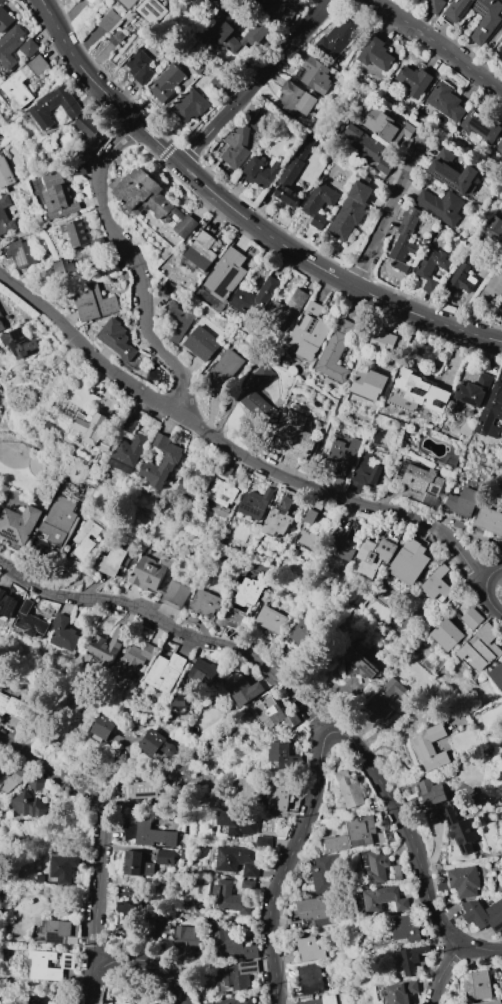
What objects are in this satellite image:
building: (205, 0)
building: (92, 1)
building: (2, 2)
building: (266, 2)
building: (128, 4)
building: (434, 6)
building: (155, 9)
building: (287, 10)
building: (4, 19)
building: (109, 20)
building: (490, 23)
building: (338, 37)
building: (226, 39)
building: (113, 41)
road: (439, 43)
building: (29, 47)
building: (9, 48)
building: (376, 54)
building: (198, 63)
building: (140, 67)
building: (315, 75)
building: (414, 80)
road: (255, 81)
building: (166, 82)
building: (12, 83)
building: (221, 83)
building: (297, 98)
building: (447, 102)
building: (53, 106)
building: (191, 106)
building: (257, 119)
building: (382, 124)
building: (482, 125)
building: (89, 128)
building: (364, 143)
building: (500, 145)
building: (237, 147)
building: (387, 166)
building: (78, 169)
building: (452, 171)
building: (261, 172)
building: (5, 173)
building: (293, 176)
building: (56, 196)
building: (320, 203)
building: (153, 205)
building: (442, 206)
building: (351, 211)
road: (241, 213)
building: (5, 215)
road: (386, 217)
building: (495, 230)
building: (80, 234)
building: (405, 239)
building: (23, 253)
building: (200, 253)
road: (135, 262)
building: (62, 267)
building: (432, 267)
building: (112, 268)
building: (464, 273)
building: (227, 274)
building: (167, 289)
building: (492, 289)
building: (255, 298)
building: (92, 301)
building: (288, 309)
building: (0, 314)
building: (175, 322)
building: (2, 326)
building: (311, 331)
building: (117, 340)
building: (381, 341)
building: (19, 343)
building: (204, 344)
road: (360, 350)
building: (336, 351)
building: (224, 370)
building: (265, 374)
building: (370, 384)
building: (474, 390)
building: (423, 391)
building: (253, 402)
building: (491, 414)
building: (130, 424)
building: (93, 430)
building: (294, 437)
building: (380, 437)
road: (31, 443)
road: (232, 449)
building: (127, 453)
road: (11, 457)
park: (12, 458)
building: (342, 458)
building: (168, 463)
park: (29, 467)
building: (226, 471)
building: (365, 474)
building: (423, 479)
road: (10, 493)
building: (222, 493)
building: (464, 502)
building: (255, 503)
building: (309, 516)
building: (280, 518)
building: (59, 523)
building: (19, 524)
building: (487, 525)
building: (85, 539)
building: (308, 539)
building: (341, 545)
building: (372, 557)
building: (111, 561)
building: (409, 561)
building: (159, 582)
building: (438, 584)
road: (485, 589)
building: (247, 594)
building: (207, 603)
building: (7, 604)
building: (235, 616)
building: (473, 618)
building: (270, 619)
building: (30, 621)
road: (180, 627)
building: (65, 635)
building: (303, 635)
building: (448, 635)
building: (108, 644)
building: (481, 648)
building: (135, 659)
building: (359, 662)
building: (166, 672)
building: (204, 673)
building: (497, 675)
building: (243, 688)
building: (388, 696)
building: (178, 700)
building: (15, 707)
building: (273, 713)
building: (105, 727)
road: (340, 734)
building: (157, 744)
building: (430, 747)
building: (282, 755)
building: (12, 779)
building: (37, 782)
building: (149, 789)
building: (350, 789)
building: (431, 793)
building: (279, 795)
building: (28, 804)
building: (238, 823)
road: (103, 824)
building: (460, 829)
building: (150, 834)
building: (354, 835)
building: (265, 841)
building: (185, 854)
building: (237, 860)
building: (133, 863)
building: (165, 864)
building: (378, 866)
building: (149, 868)
building: (63, 869)
building: (398, 872)
building: (322, 875)
building: (38, 877)
building: (465, 880)
building: (249, 884)
building: (124, 888)
building: (232, 898)
building: (384, 899)
building: (128, 910)
building: (317, 910)
building: (484, 914)
building: (161, 922)
building: (408, 928)
building: (62, 931)
building: (187, 936)
building: (225, 938)
building: (309, 949)
building: (251, 951)
building: (414, 957)
road: (133, 958)
building: (40, 963)
road: (443, 970)
building: (239, 975)
building: (311, 978)
building: (479, 985)
building: (402, 992)
building: (37, 1000)
building: (242, 1001)
building: (320, 1001)
building: (68, 1002)
building: (491, 1002)
road: (0, 1003)
building: (158, 1003)
building: (162, 1003)

